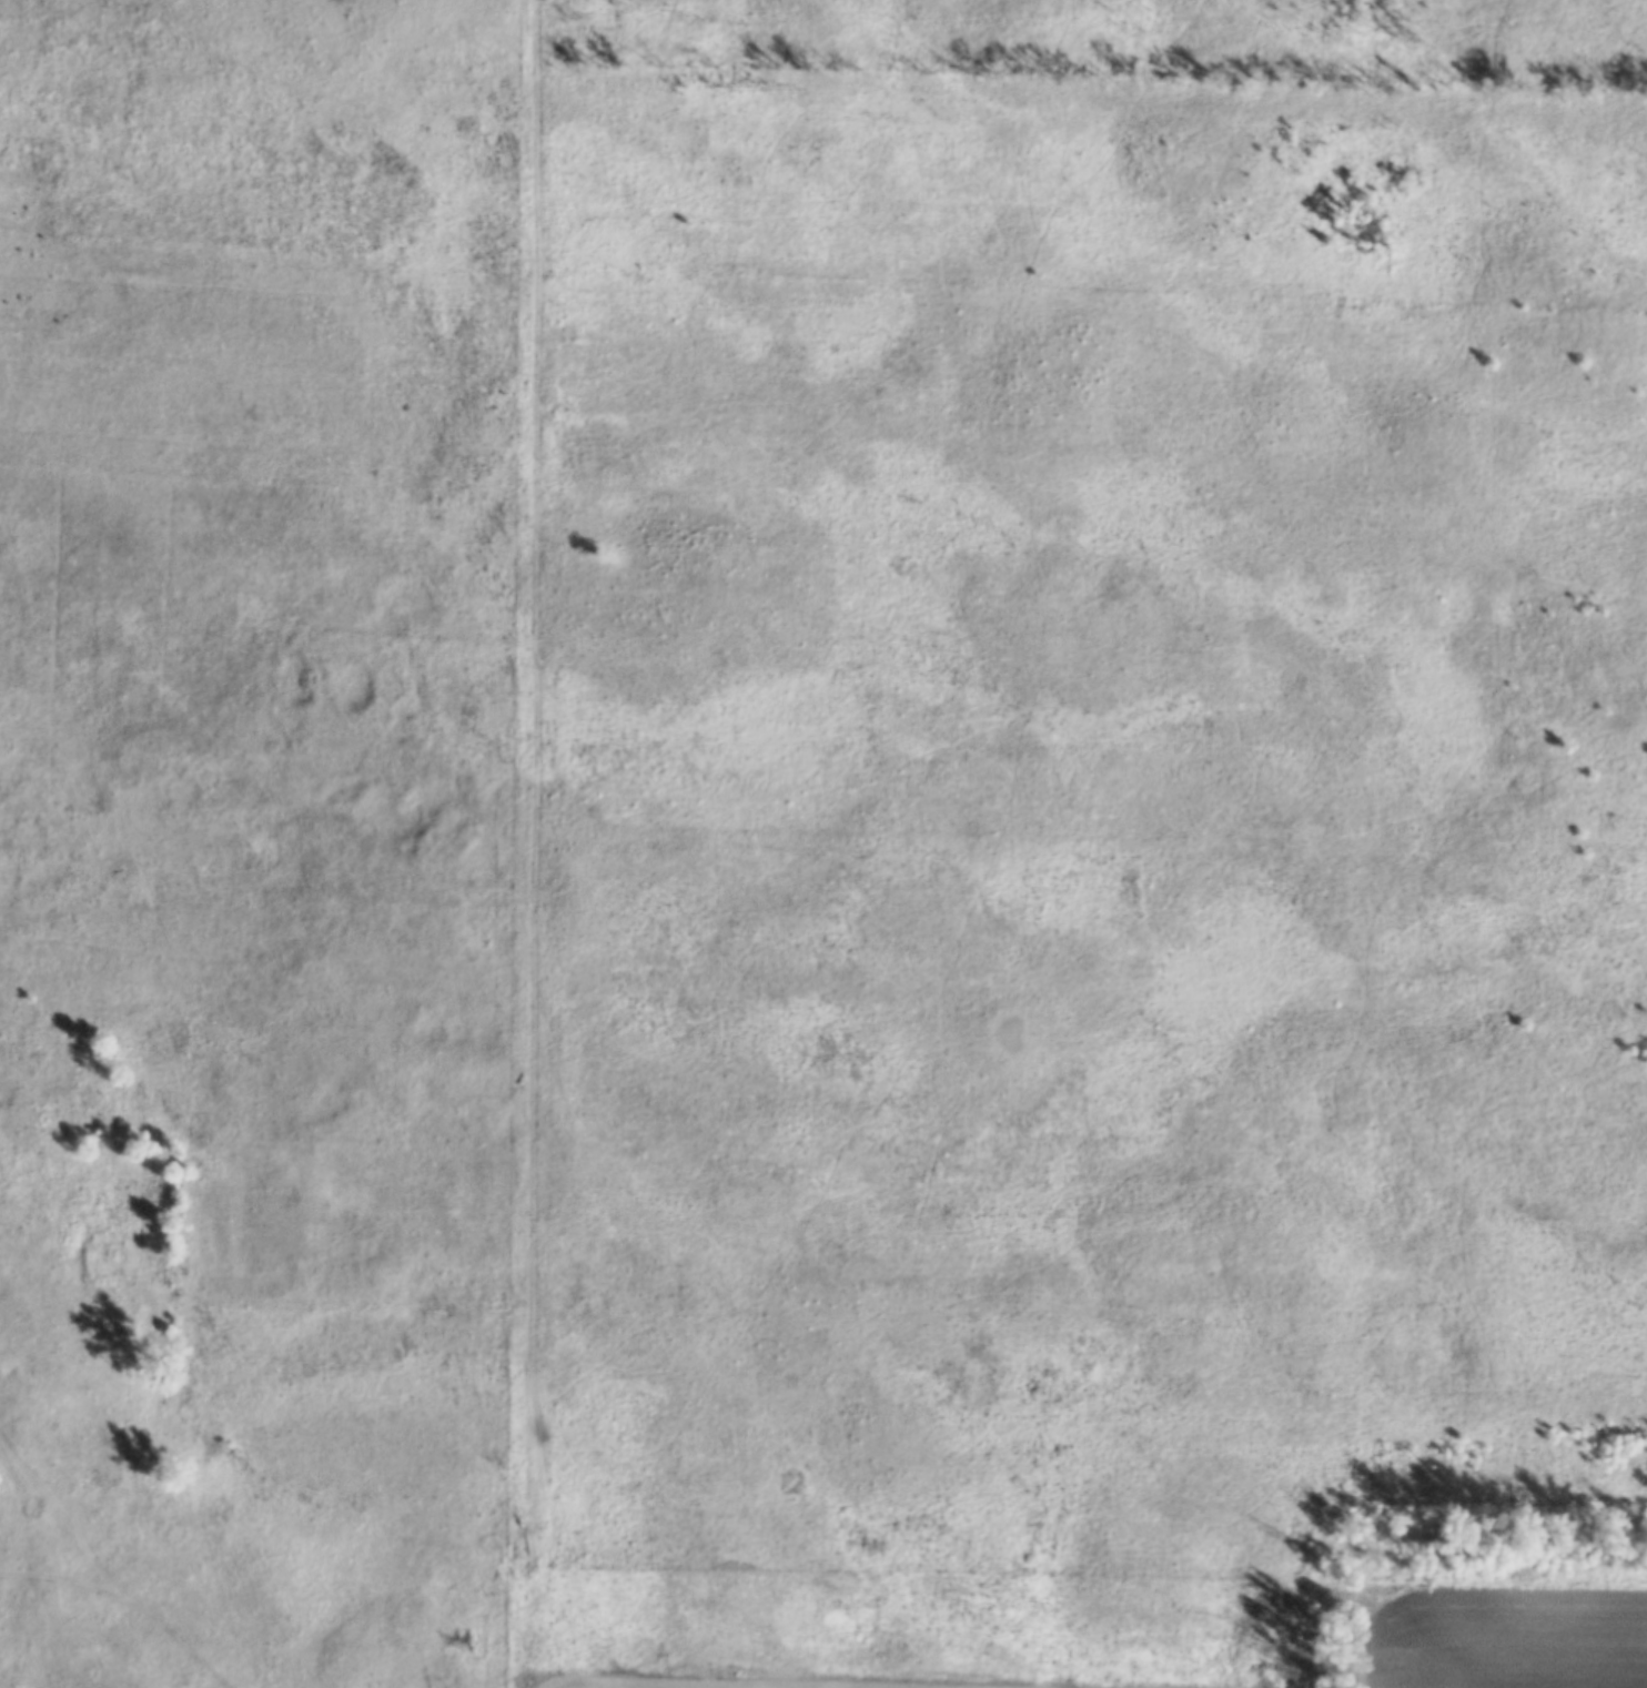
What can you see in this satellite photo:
road: (123, 1606)

